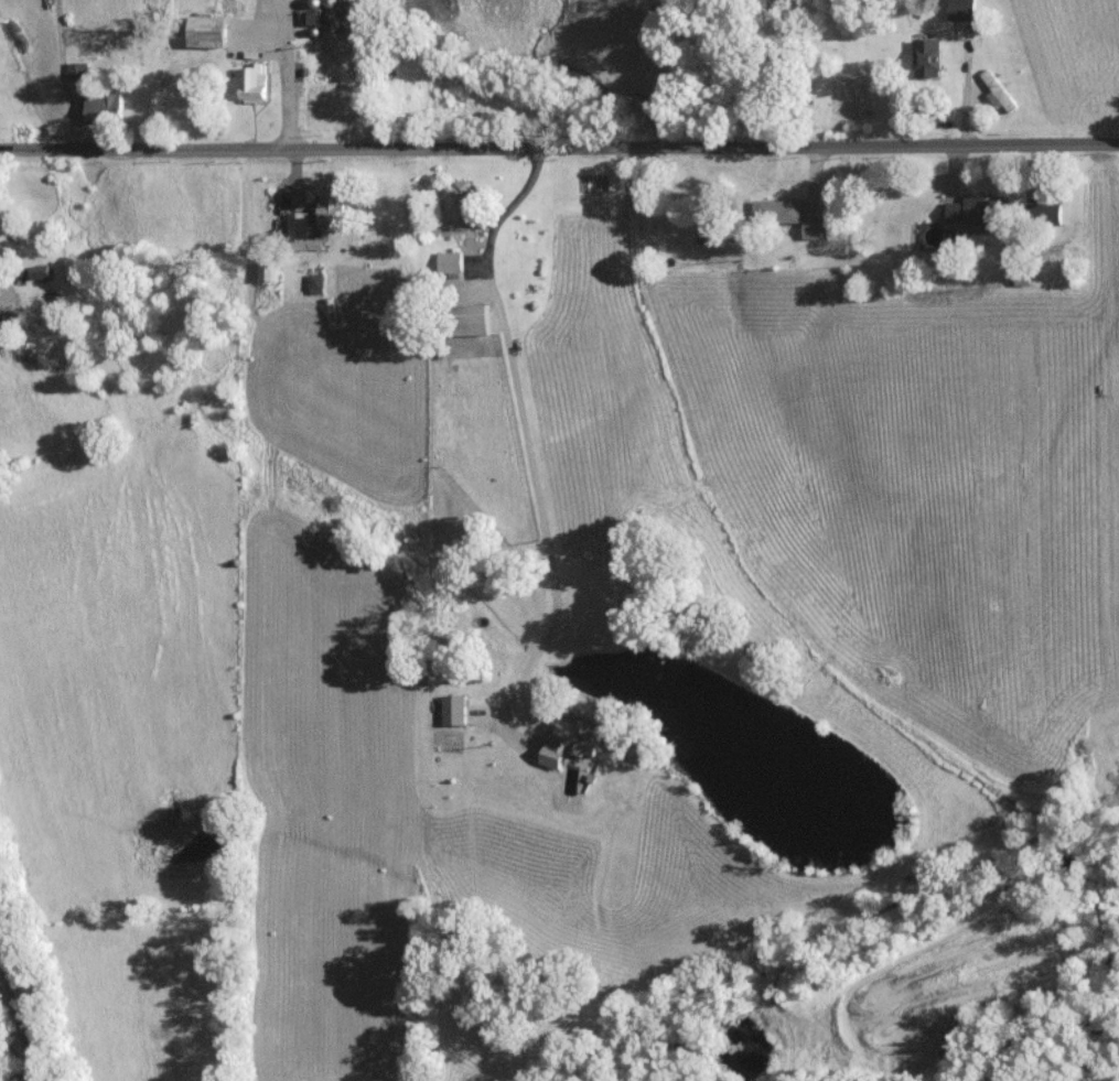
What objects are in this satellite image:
building: (961, 9)
building: (314, 14)
building: (207, 30)
building: (927, 56)
building: (76, 71)
road: (283, 74)
building: (252, 82)
building: (998, 91)
building: (101, 106)
road: (559, 148)
building: (459, 204)
building: (331, 209)
building: (777, 209)
building: (973, 209)
building: (1046, 213)
building: (815, 228)
building: (301, 233)
building: (450, 260)
building: (269, 270)
building: (40, 271)
building: (315, 283)
building: (471, 320)
building: (454, 710)
building: (570, 741)
railway: (20, 1010)

